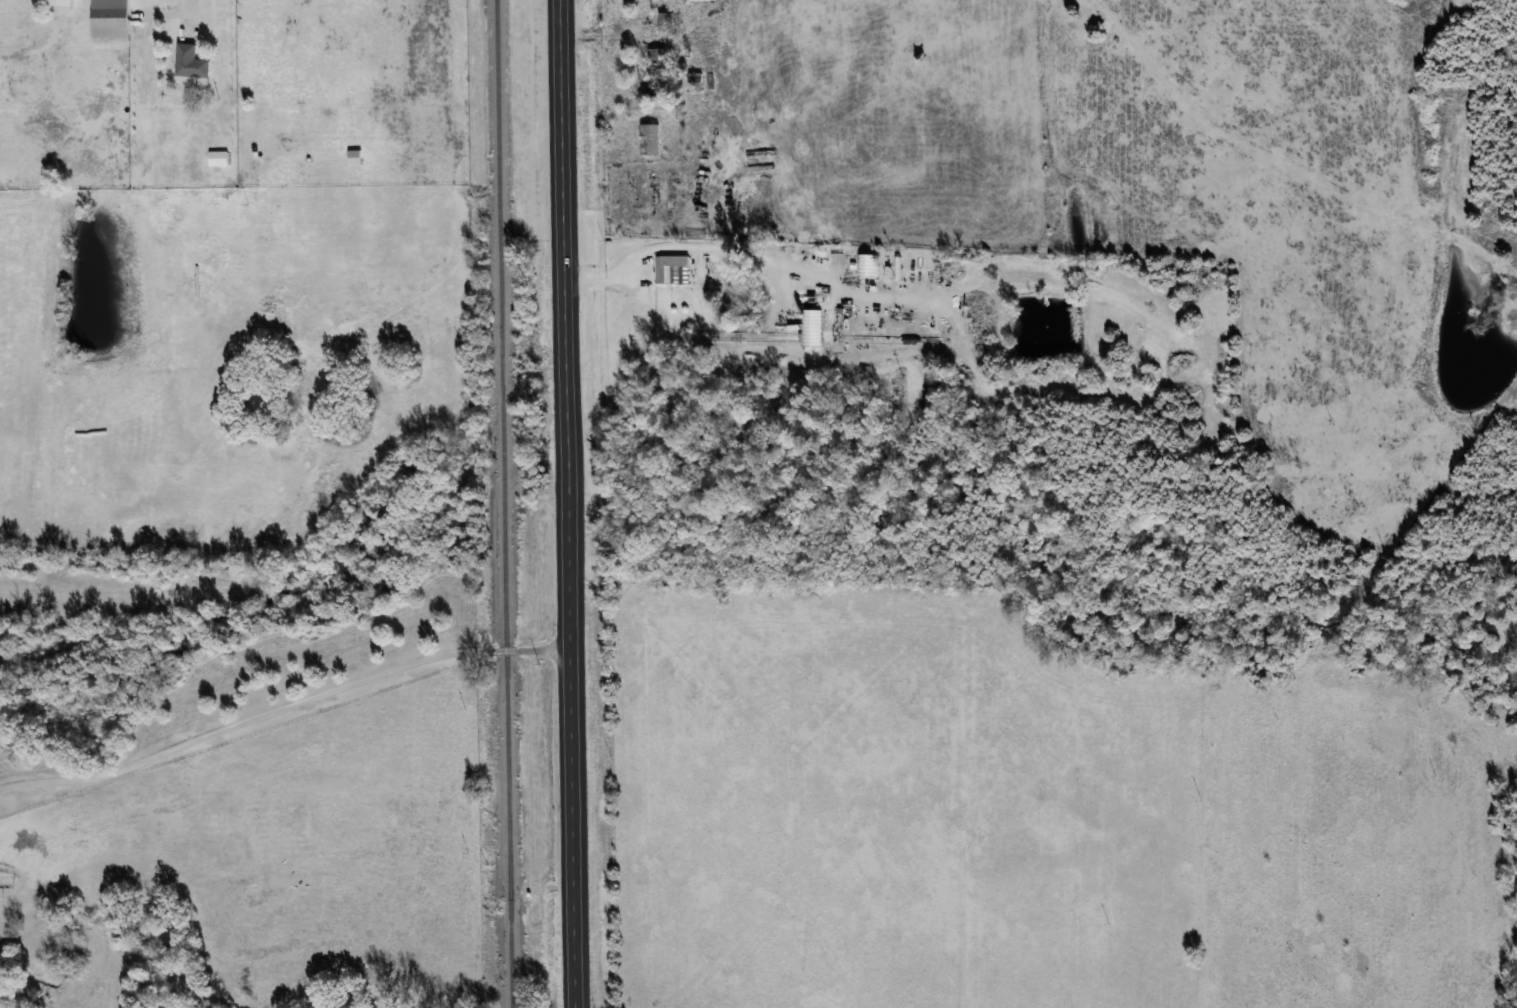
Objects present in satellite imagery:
building: (61, 2)
building: (111, 18)
building: (665, 21)
building: (192, 62)
building: (657, 70)
building: (696, 81)
road: (680, 245)
building: (867, 265)
building: (674, 269)
railway: (504, 503)
road: (567, 504)
road: (283, 708)

